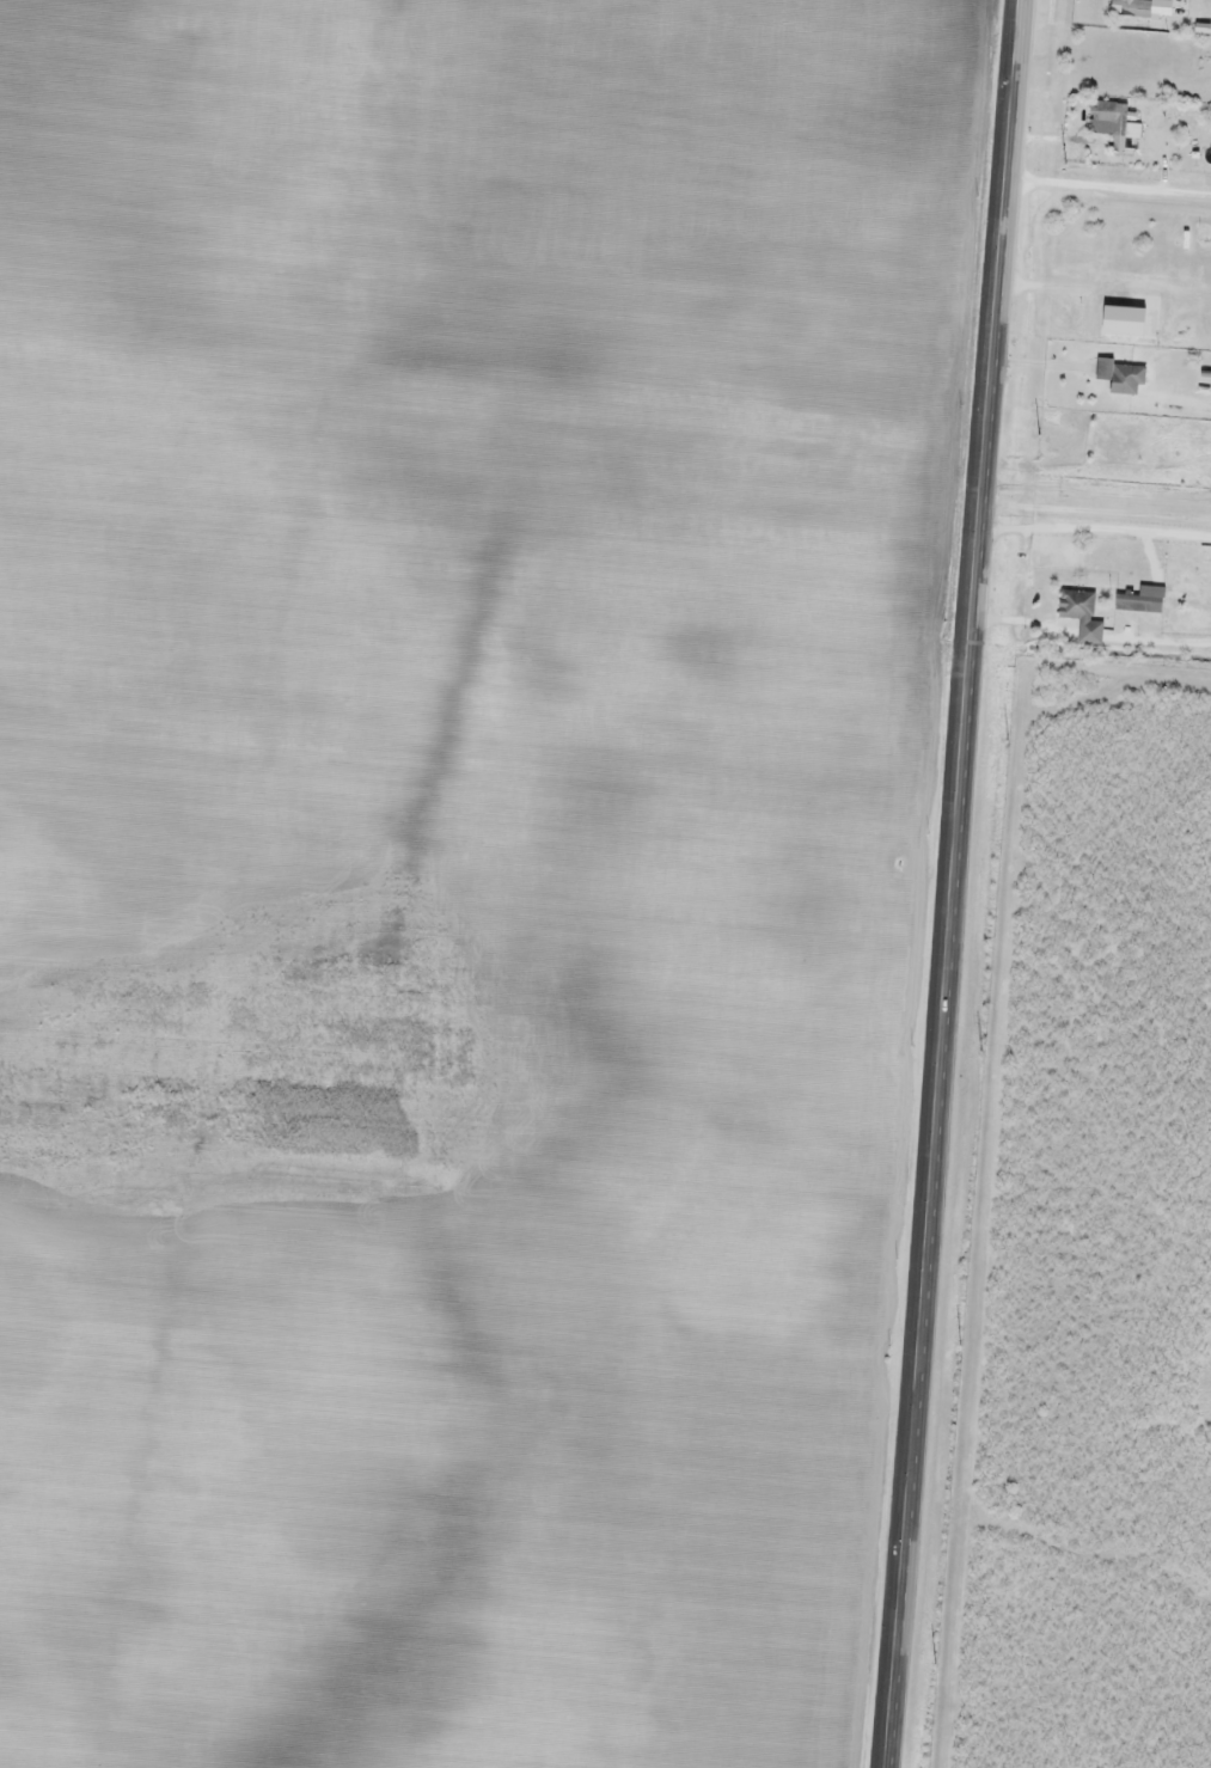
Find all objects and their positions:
building: (1114, 121)
road: (1113, 166)
road: (1112, 190)
building: (1130, 378)
road: (1101, 483)
road: (1100, 504)
building: (1136, 601)
building: (1079, 606)
road: (1094, 668)
road: (959, 883)

